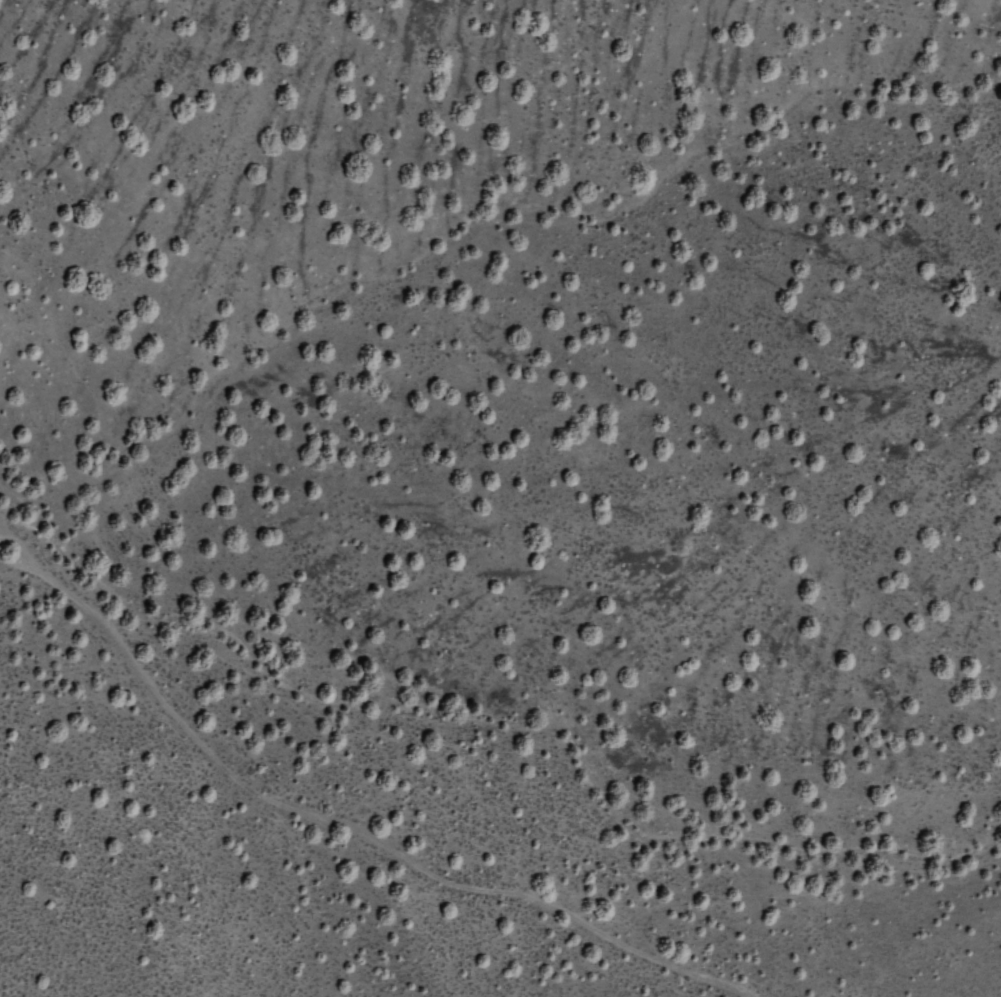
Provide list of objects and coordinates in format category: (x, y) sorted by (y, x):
road: (342, 826)

